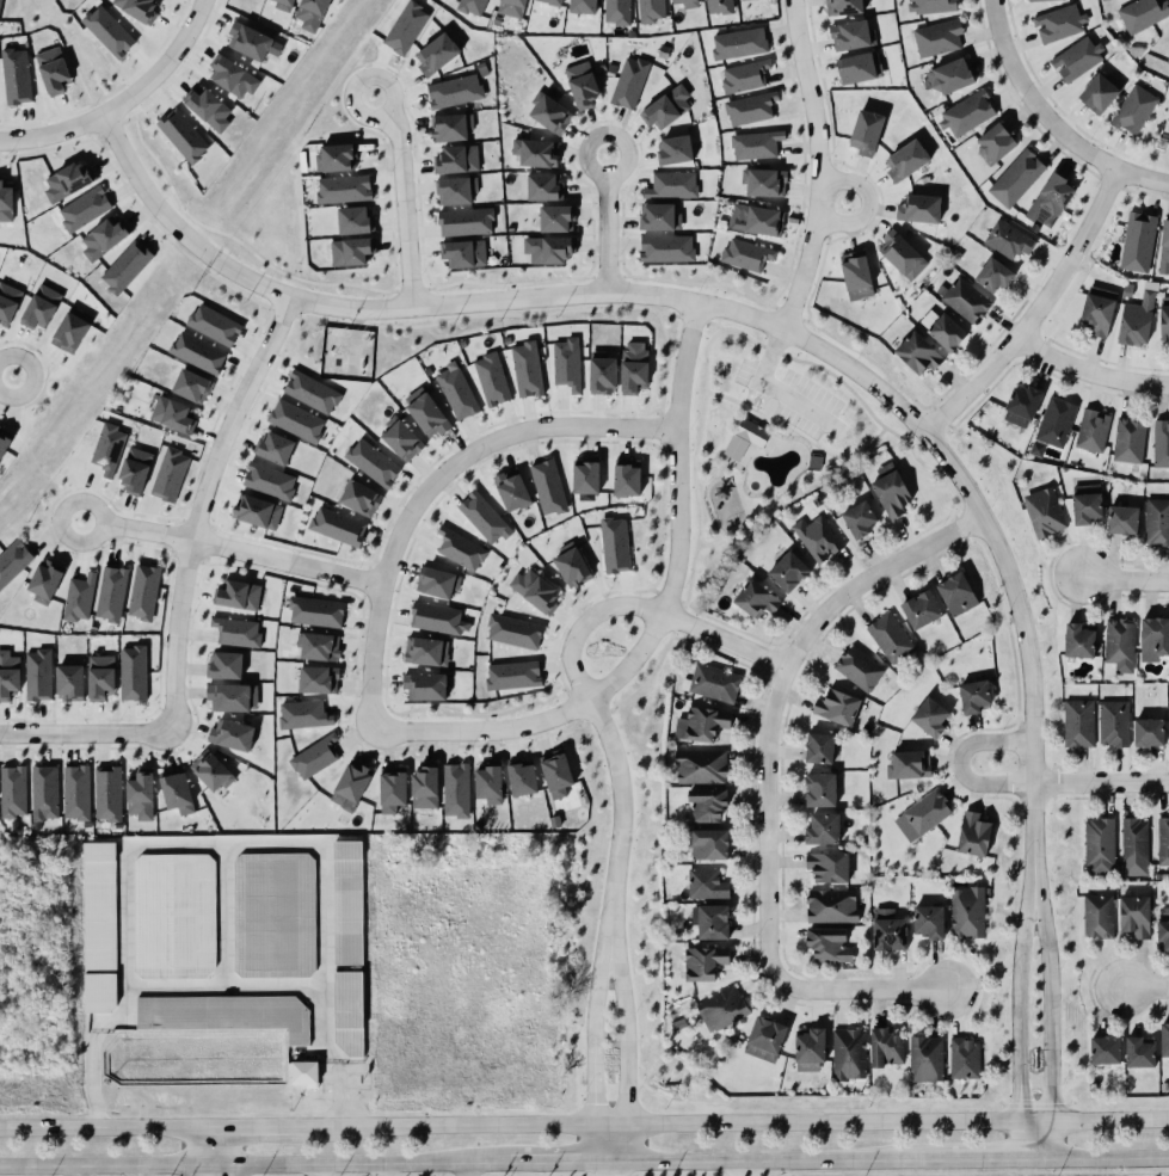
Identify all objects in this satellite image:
building: (742, 0)
building: (1030, 0)
building: (0, 2)
building: (554, 2)
building: (688, 2)
building: (284, 5)
building: (582, 5)
building: (469, 6)
building: (719, 6)
building: (933, 6)
building: (512, 7)
building: (844, 7)
building: (137, 10)
building: (652, 10)
building: (616, 11)
building: (1142, 13)
building: (314, 14)
building: (1059, 24)
building: (406, 26)
building: (109, 31)
building: (851, 36)
building: (939, 38)
building: (252, 42)
building: (739, 43)
building: (435, 53)
building: (1076, 56)
building: (1168, 57)
building: (859, 68)
building: (53, 70)
building: (949, 74)
building: (16, 76)
building: (745, 76)
building: (234, 78)
building: (629, 82)
building: (582, 85)
building: (455, 91)
building: (1099, 91)
road: (123, 100)
building: (667, 107)
building: (750, 109)
building: (210, 110)
building: (1134, 110)
building: (549, 111)
building: (966, 112)
road: (1046, 123)
building: (451, 128)
road: (1167, 128)
building: (866, 133)
building: (183, 136)
park: (1158, 137)
building: (995, 143)
building: (759, 148)
building: (676, 149)
building: (536, 153)
building: (337, 155)
building: (455, 158)
building: (905, 158)
road: (817, 165)
building: (1015, 177)
building: (763, 179)
building: (67, 184)
building: (672, 184)
building: (544, 186)
building: (344, 189)
building: (456, 191)
road: (406, 197)
building: (1051, 201)
building: (5, 203)
road: (867, 205)
building: (918, 205)
building: (84, 209)
building: (556, 216)
building: (660, 217)
building: (353, 218)
building: (464, 220)
building: (756, 220)
road: (607, 223)
building: (104, 238)
building: (1008, 240)
building: (1137, 240)
building: (666, 247)
building: (1164, 248)
building: (549, 250)
building: (352, 251)
building: (464, 254)
building: (746, 254)
building: (903, 257)
building: (127, 266)
building: (855, 272)
building: (992, 273)
building: (965, 300)
building: (7, 304)
building: (39, 306)
road: (733, 310)
road: (1035, 314)
building: (1097, 314)
building: (1137, 321)
building: (1164, 321)
road: (713, 322)
building: (213, 324)
building: (69, 331)
building: (946, 331)
road: (743, 333)
road: (770, 349)
building: (198, 352)
road: (769, 353)
building: (918, 355)
road: (705, 357)
building: (567, 364)
building: (527, 368)
building: (634, 368)
road: (7, 372)
building: (602, 374)
road: (1089, 375)
road: (838, 378)
building: (492, 380)
building: (192, 387)
building: (310, 390)
building: (457, 392)
road: (724, 395)
road: (770, 399)
road: (796, 401)
building: (1025, 405)
road: (753, 407)
building: (172, 413)
building: (427, 414)
building: (295, 419)
road: (762, 419)
building: (1056, 421)
road: (699, 425)
building: (1091, 430)
building: (744, 437)
building: (401, 438)
building: (1127, 439)
building: (4, 441)
building: (1162, 443)
building: (276, 448)
building: (109, 449)
road: (824, 449)
park: (776, 450)
road: (706, 461)
building: (371, 462)
road: (720, 462)
road: (928, 464)
building: (134, 469)
road: (715, 470)
building: (172, 475)
building: (585, 479)
building: (626, 479)
building: (270, 481)
road: (431, 484)
building: (548, 487)
building: (512, 491)
building: (892, 494)
building: (359, 497)
road: (696, 501)
road: (708, 504)
road: (199, 506)
building: (1089, 507)
building: (256, 510)
building: (1044, 512)
road: (953, 515)
building: (484, 518)
building: (862, 519)
building: (1122, 521)
building: (1156, 522)
road: (931, 523)
building: (338, 527)
building: (818, 537)
road: (710, 542)
building: (613, 544)
road: (232, 549)
building: (460, 549)
building: (13, 561)
building: (572, 566)
road: (690, 572)
building: (790, 573)
road: (1125, 579)
building: (44, 580)
building: (438, 583)
building: (535, 590)
building: (143, 592)
building: (958, 592)
building: (111, 593)
building: (79, 597)
building: (236, 599)
building: (756, 599)
road: (681, 601)
road: (683, 604)
building: (315, 610)
building: (921, 610)
building: (435, 617)
road: (656, 624)
road: (728, 626)
building: (236, 632)
building: (513, 632)
building: (1157, 634)
building: (890, 636)
road: (721, 640)
building: (1078, 641)
building: (1119, 642)
building: (316, 645)
building: (426, 651)
building: (226, 665)
building: (859, 667)
building: (133, 671)
building: (8, 673)
building: (37, 673)
building: (100, 676)
building: (513, 676)
building: (316, 678)
building: (69, 681)
building: (710, 682)
building: (424, 684)
building: (230, 696)
building: (974, 697)
building: (838, 708)
building: (302, 713)
building: (931, 719)
building: (700, 722)
building: (1078, 722)
building: (1114, 725)
road: (87, 732)
road: (605, 733)
building: (1149, 734)
building: (232, 735)
building: (822, 749)
building: (315, 755)
road: (958, 763)
building: (911, 765)
building: (702, 769)
building: (210, 770)
building: (561, 777)
building: (522, 780)
building: (490, 783)
road: (1100, 783)
road: (764, 784)
building: (349, 786)
building: (424, 787)
building: (455, 789)
building: (819, 790)
building: (13, 792)
building: (44, 792)
building: (76, 793)
building: (107, 793)
building: (177, 793)
building: (141, 795)
building: (393, 798)
building: (705, 804)
building: (923, 813)
building: (824, 831)
building: (973, 835)
building: (1162, 842)
building: (1097, 843)
building: (709, 844)
building: (1133, 845)
building: (829, 867)
building: (705, 883)
building: (346, 901)
building: (831, 906)
building: (273, 913)
building: (966, 913)
building: (174, 916)
building: (1097, 916)
building: (1134, 916)
building: (712, 919)
building: (930, 922)
building: (99, 928)
building: (1163, 928)
building: (890, 935)
building: (827, 944)
building: (703, 962)
road: (216, 984)
road: (1143, 990)
building: (721, 1006)
building: (346, 1011)
building: (224, 1012)
road: (1019, 1029)
road: (1047, 1029)
building: (764, 1039)
building: (1164, 1039)
building: (811, 1048)
building: (884, 1048)
building: (1103, 1048)
road: (592, 1051)
road: (626, 1051)
building: (848, 1052)
building: (1138, 1052)
building: (965, 1057)
building: (927, 1059)
building: (304, 1073)
road: (738, 1125)
road: (105, 1126)
road: (259, 1126)
road: (202, 1150)
road: (221, 1150)
road: (1100, 1159)
road: (777, 1162)
road: (989, 1162)
road: (352, 1164)
road: (559, 1164)
road: (98, 1165)
road: (740, 1169)
road: (314, 1170)
road: (382, 1170)
road: (469, 1170)
road: (610, 1170)
road: (74, 1171)

